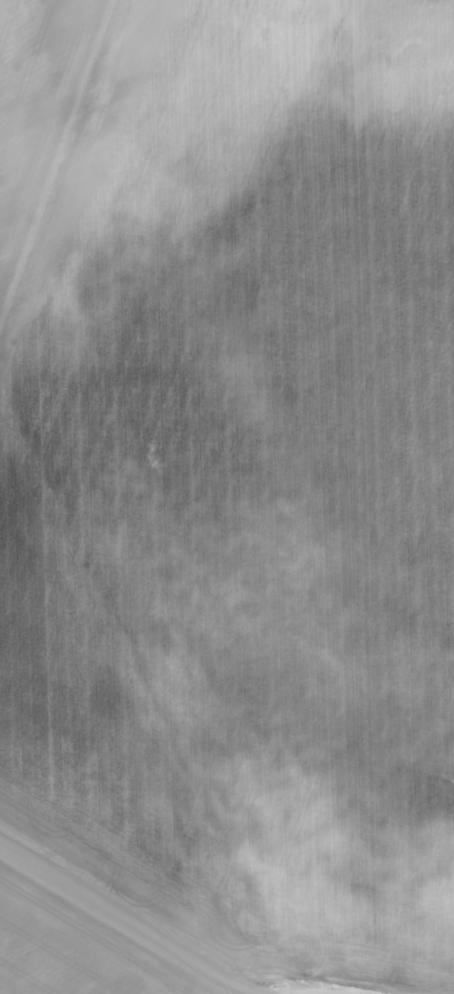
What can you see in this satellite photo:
road: (143, 930)

